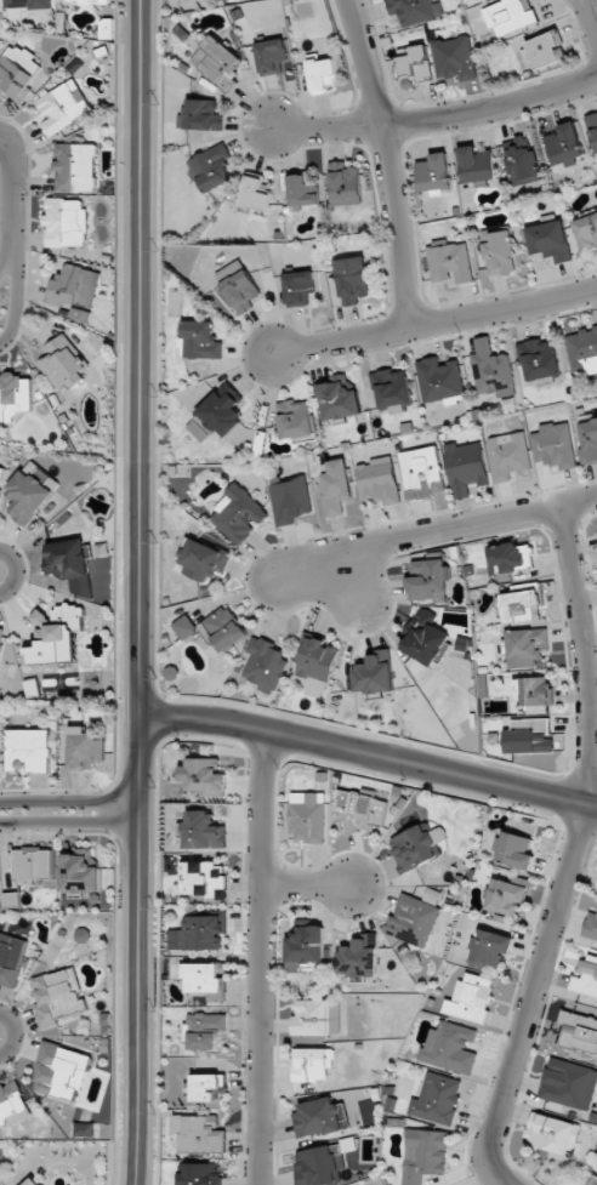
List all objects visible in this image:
building: (86, 1)
building: (27, 4)
building: (415, 11)
building: (510, 16)
road: (589, 21)
building: (542, 50)
building: (272, 56)
building: (454, 58)
building: (217, 62)
building: (415, 65)
building: (17, 69)
building: (323, 74)
building: (63, 106)
building: (203, 115)
road: (438, 116)
building: (592, 127)
building: (565, 144)
road: (383, 160)
building: (521, 160)
building: (477, 165)
building: (75, 167)
building: (211, 167)
building: (436, 173)
building: (345, 184)
building: (302, 192)
road: (13, 193)
building: (254, 194)
building: (66, 222)
building: (586, 229)
building: (547, 240)
building: (499, 251)
building: (450, 262)
building: (349, 281)
building: (74, 286)
road: (13, 287)
building: (237, 287)
building: (298, 287)
road: (434, 320)
building: (200, 340)
building: (582, 352)
building: (539, 359)
building: (63, 363)
building: (491, 369)
building: (439, 380)
building: (392, 388)
building: (13, 395)
building: (337, 397)
building: (222, 410)
building: (295, 418)
building: (198, 431)
building: (589, 441)
building: (553, 445)
building: (508, 455)
building: (466, 467)
building: (422, 472)
building: (1, 474)
building: (28, 494)
building: (290, 499)
building: (238, 513)
road: (434, 531)
building: (508, 557)
building: (67, 559)
building: (203, 560)
building: (430, 580)
building: (81, 586)
road: (138, 592)
building: (522, 604)
building: (184, 627)
building: (224, 628)
building: (1, 636)
building: (55, 636)
building: (425, 638)
building: (525, 646)
building: (265, 665)
building: (317, 665)
building: (375, 673)
building: (533, 690)
building: (528, 736)
building: (29, 748)
building: (85, 750)
road: (369, 757)
building: (204, 775)
road: (68, 801)
building: (359, 810)
building: (308, 815)
road: (69, 820)
building: (203, 831)
building: (417, 847)
building: (514, 850)
road: (570, 854)
building: (33, 862)
building: (79, 872)
building: (201, 878)
road: (307, 888)
building: (505, 896)
building: (414, 921)
building: (591, 925)
building: (198, 933)
building: (81, 935)
building: (488, 948)
building: (307, 950)
building: (359, 957)
building: (10, 959)
road: (260, 959)
building: (204, 976)
building: (586, 978)
building: (57, 996)
building: (470, 997)
building: (318, 1018)
building: (204, 1030)
building: (579, 1031)
building: (449, 1048)
building: (312, 1064)
building: (61, 1070)
building: (568, 1083)
building: (205, 1086)
building: (436, 1099)
building: (12, 1104)
building: (320, 1117)
building: (85, 1129)
building: (198, 1133)
building: (551, 1133)
building: (423, 1155)
building: (318, 1166)
building: (201, 1174)
building: (33, 1181)
building: (593, 1181)

